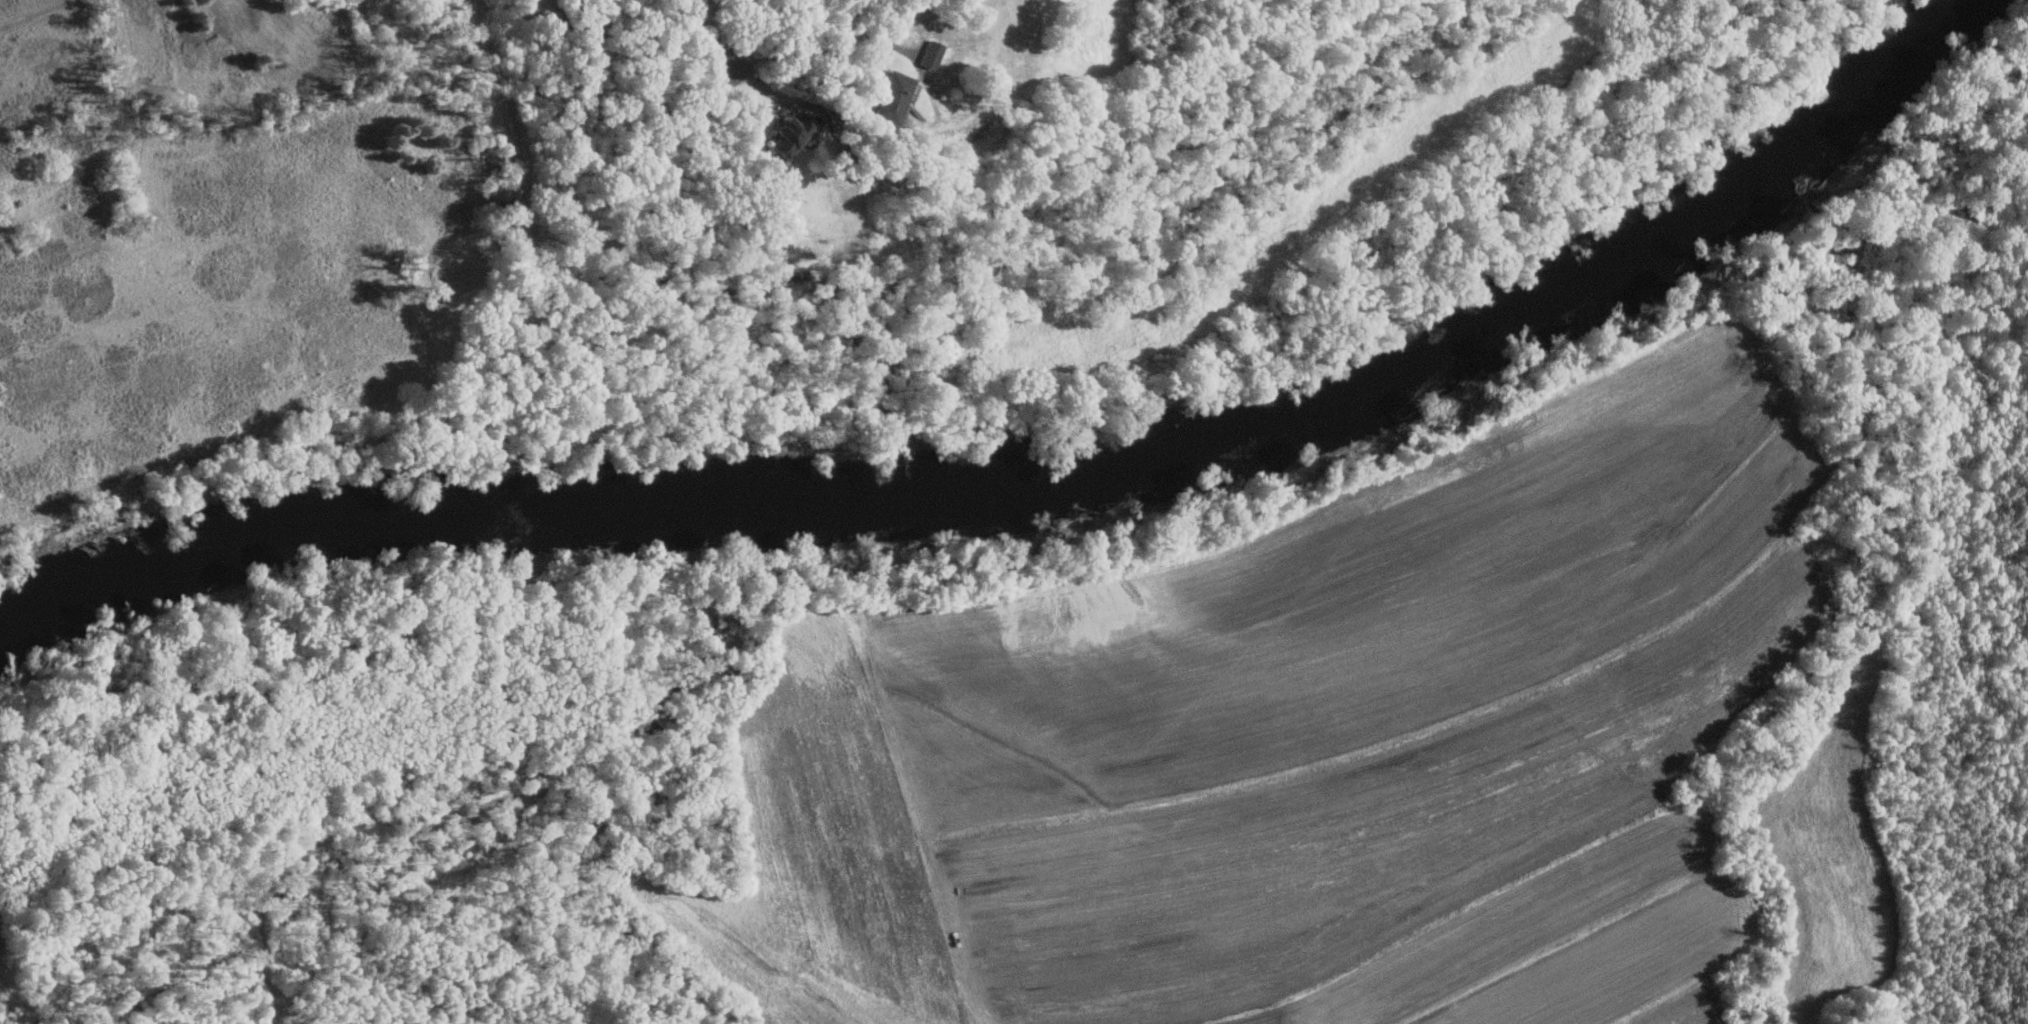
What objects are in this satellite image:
road: (710, 38)
road: (828, 48)
building: (931, 54)
road: (773, 92)
building: (892, 96)
building: (791, 133)
park: (545, 169)
river: (1364, 380)
river: (321, 519)

